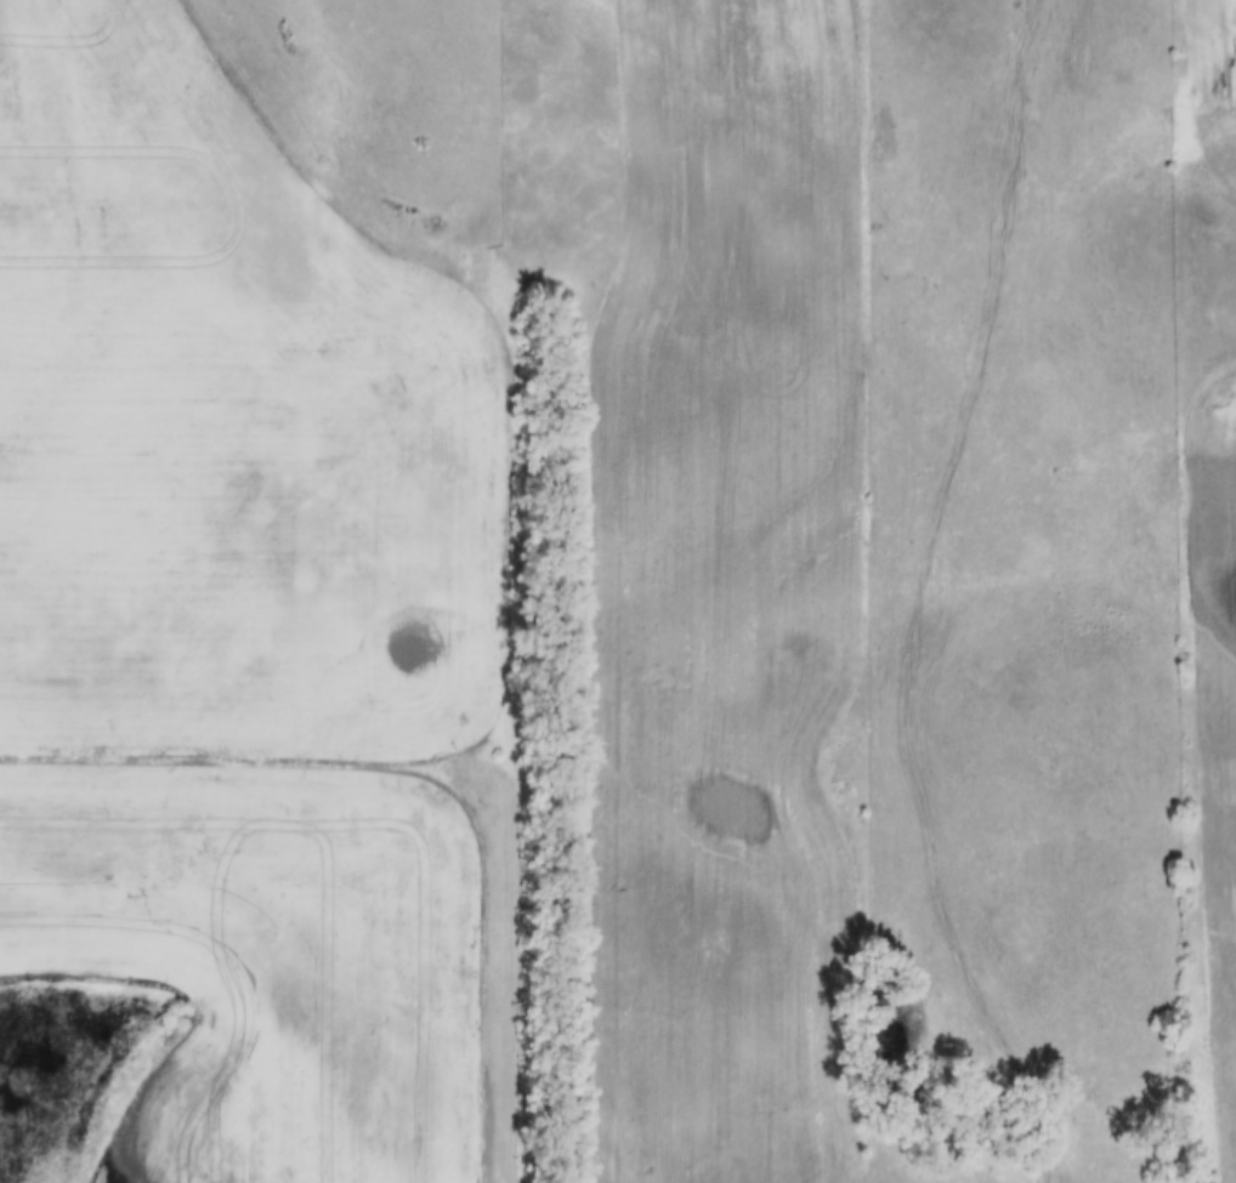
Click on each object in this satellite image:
crop: (221, 409)
road: (492, 989)

